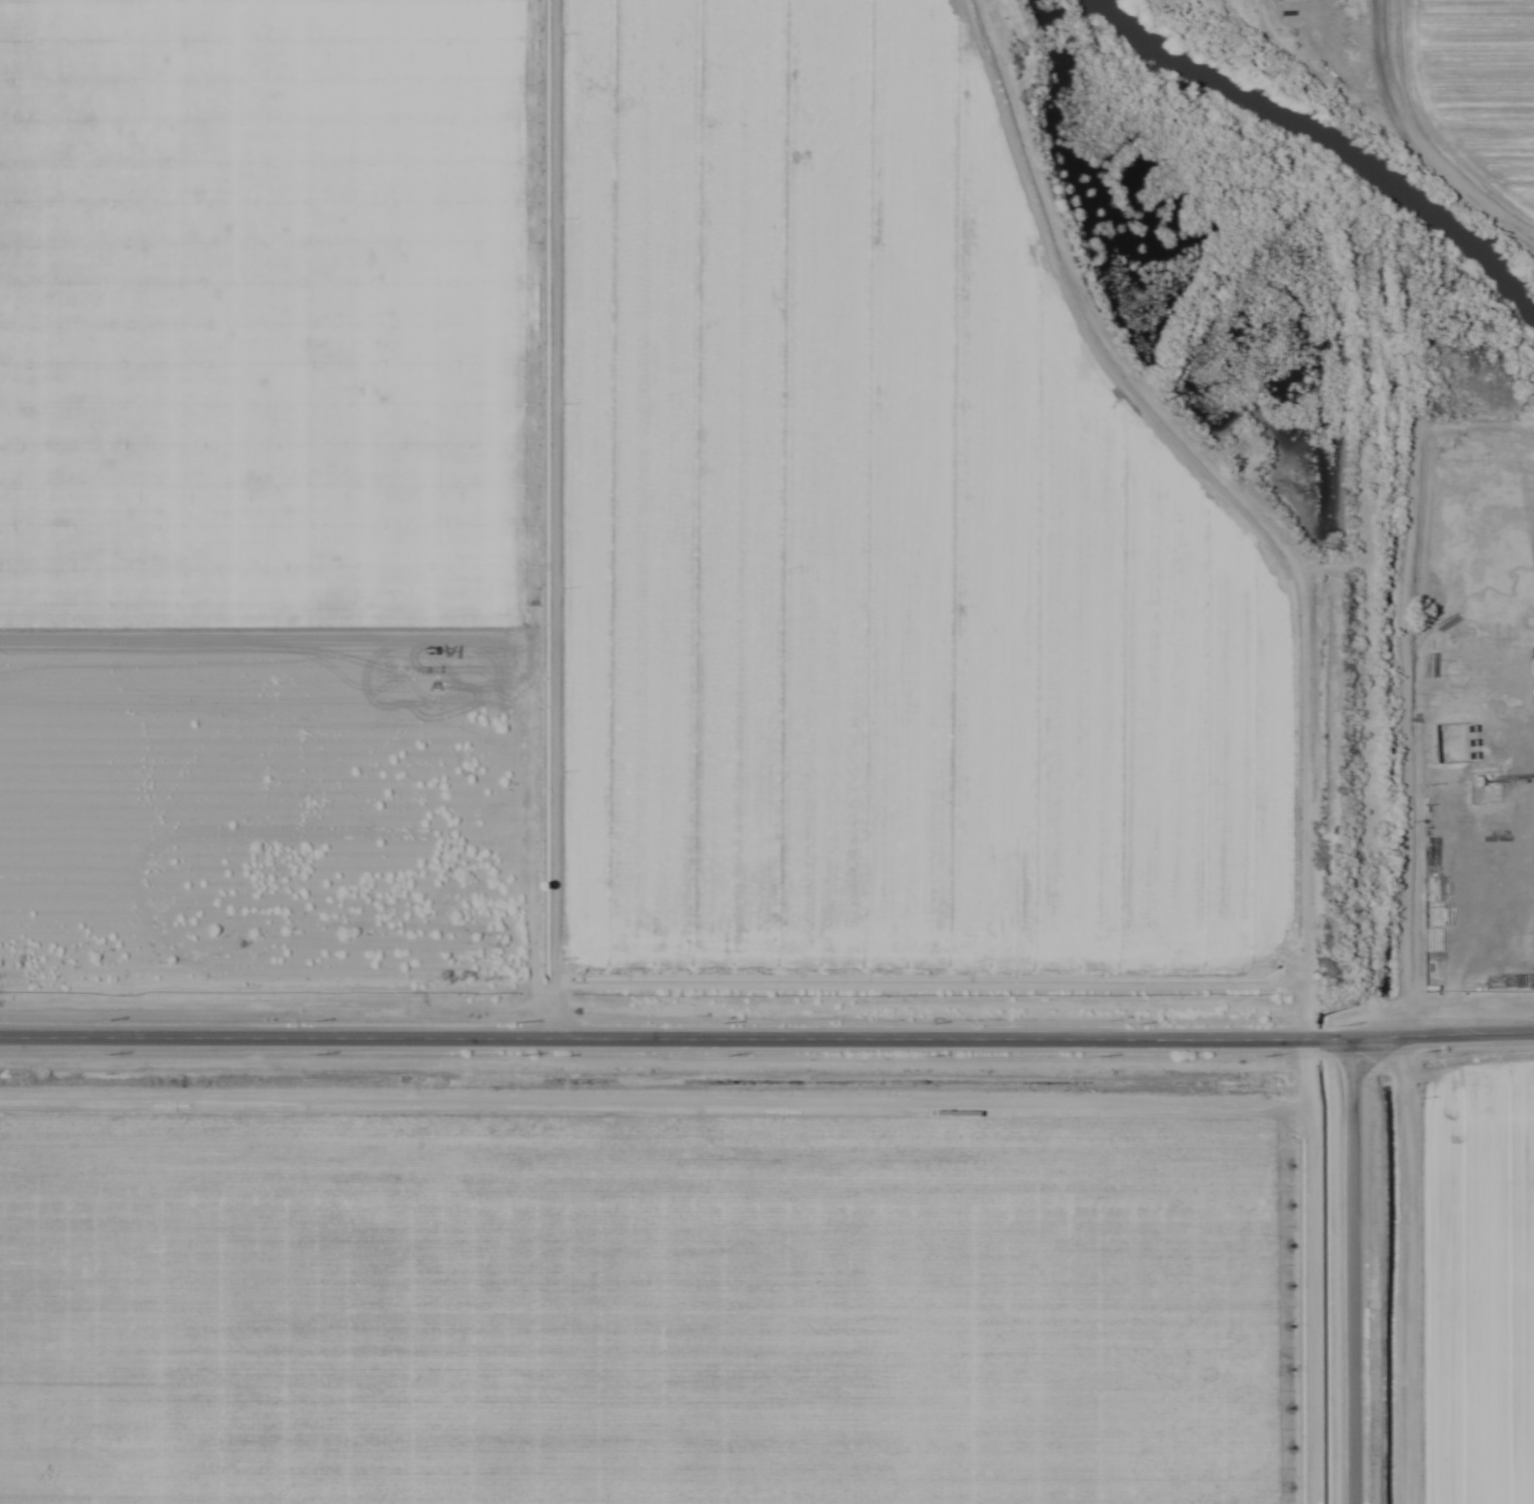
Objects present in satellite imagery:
road: (1419, 141)
river: (1333, 142)
road: (1370, 634)
building: (1431, 980)
road: (767, 1037)
road: (1411, 1269)
road: (1350, 1271)

